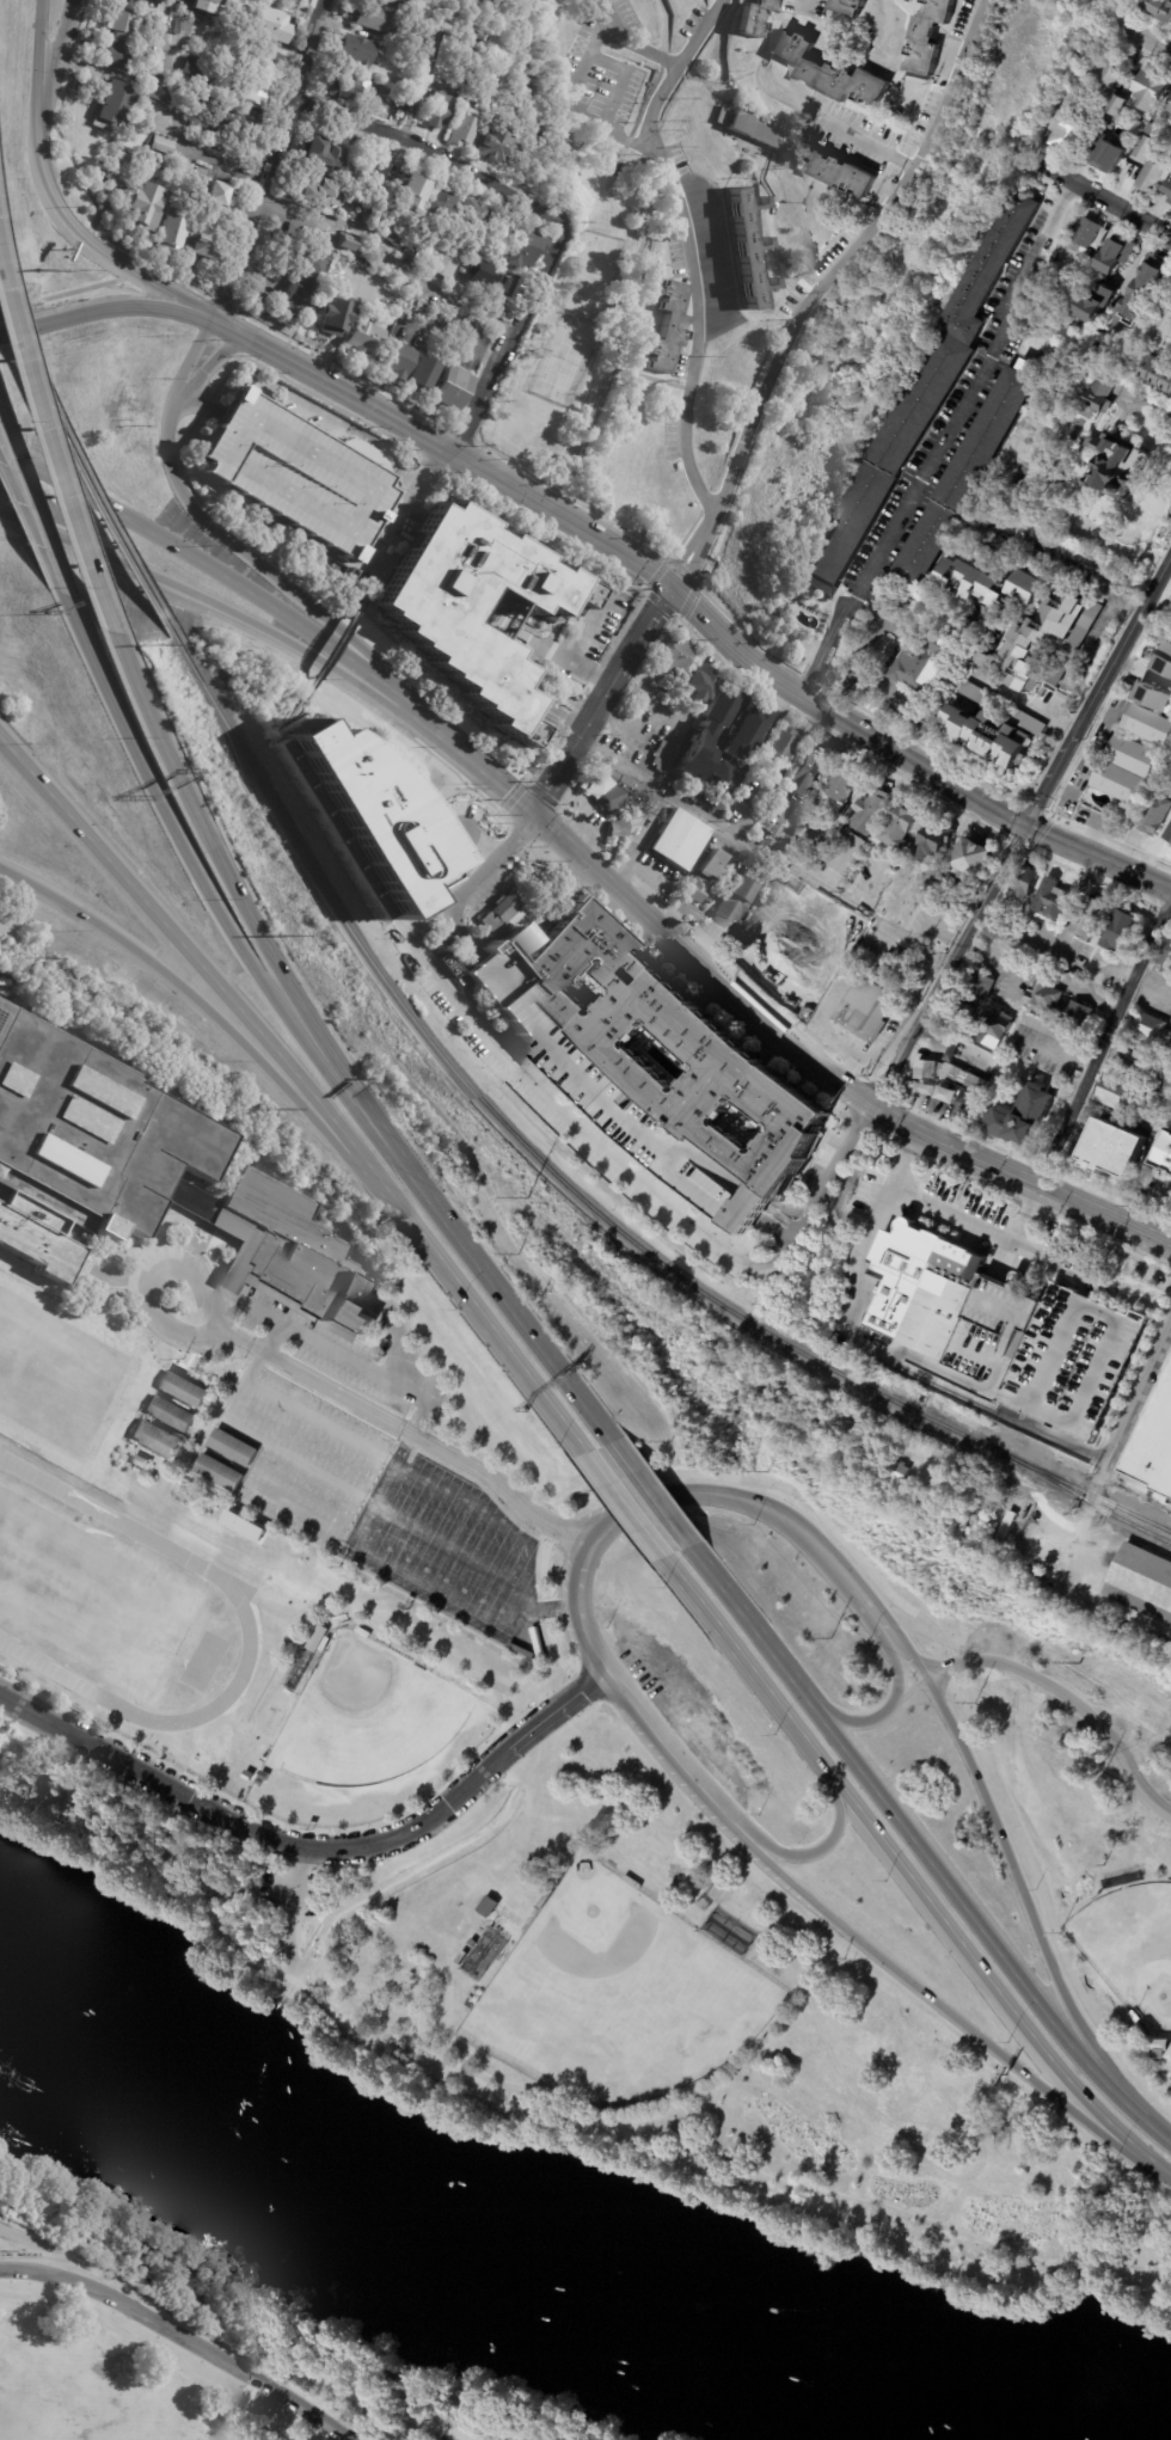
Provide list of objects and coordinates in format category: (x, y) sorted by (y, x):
building: (139, 1)
building: (161, 1)
building: (266, 1)
building: (293, 1)
building: (391, 2)
building: (470, 2)
building: (206, 6)
building: (848, 7)
building: (1157, 8)
building: (754, 17)
building: (369, 20)
building: (272, 25)
building: (124, 26)
building: (184, 26)
building: (476, 30)
road: (1145, 33)
building: (926, 37)
road: (629, 45)
road: (38, 49)
road: (61, 50)
building: (352, 51)
building: (419, 51)
building: (118, 57)
building: (152, 59)
building: (256, 59)
building: (194, 66)
building: (829, 72)
building: (1109, 75)
building: (1123, 78)
road: (623, 81)
road: (656, 81)
building: (1148, 88)
building: (345, 90)
building: (250, 92)
road: (577, 99)
building: (128, 100)
building: (403, 103)
building: (1117, 104)
building: (1169, 105)
building: (435, 111)
road: (178, 116)
road: (527, 116)
road: (412, 117)
building: (1136, 122)
building: (240, 124)
building: (752, 129)
building: (1068, 131)
building: (1118, 131)
building: (459, 133)
building: (1148, 135)
road: (870, 143)
building: (164, 147)
building: (488, 147)
building: (1144, 148)
building: (1106, 152)
road: (431, 153)
building: (324, 155)
road: (269, 159)
building: (375, 164)
road: (617, 168)
building: (840, 172)
building: (118, 173)
building: (1151, 177)
building: (1167, 189)
building: (406, 192)
building: (320, 194)
building: (220, 196)
road: (1104, 197)
building: (434, 206)
building: (143, 208)
building: (467, 214)
building: (171, 233)
building: (391, 233)
building: (1085, 235)
building: (470, 237)
road: (84, 239)
building: (343, 241)
building: (206, 246)
building: (748, 247)
building: (519, 249)
building: (405, 250)
road: (691, 250)
building: (1115, 253)
road: (387, 257)
road: (847, 258)
building: (761, 263)
building: (442, 265)
park: (595, 277)
building: (304, 288)
road: (128, 289)
road: (617, 290)
building: (1142, 290)
road: (72, 298)
building: (495, 300)
building: (1093, 302)
road: (70, 306)
road: (106, 308)
building: (333, 318)
building: (1158, 326)
building: (668, 327)
building: (363, 339)
road: (453, 339)
road: (509, 341)
park: (566, 360)
building: (397, 363)
building: (1028, 364)
road: (209, 368)
building: (1157, 373)
building: (421, 378)
road: (326, 384)
building: (450, 391)
building: (1117, 396)
building: (1089, 398)
road: (190, 401)
building: (916, 401)
road: (330, 404)
road: (343, 422)
road: (940, 439)
building: (1115, 470)
building: (290, 471)
parking lot: (290, 471)
railway: (81, 476)
road: (491, 476)
building: (963, 476)
road: (53, 480)
road: (411, 495)
road: (32, 515)
building: (650, 529)
road: (32, 535)
road: (305, 538)
building: (993, 541)
road: (1116, 544)
road: (609, 545)
building: (1060, 546)
road: (239, 548)
road: (692, 553)
road: (1060, 559)
road: (227, 572)
road: (369, 575)
road: (315, 576)
building: (991, 584)
traffic signals: (672, 589)
road: (678, 595)
road: (226, 607)
building: (471, 607)
road: (673, 613)
parking lot: (606, 629)
building: (1038, 640)
building: (1074, 644)
road: (86, 648)
road: (331, 649)
building: (983, 651)
road: (275, 652)
building: (672, 657)
building: (1163, 660)
building: (919, 662)
road: (584, 666)
parking lot: (560, 676)
building: (695, 682)
road: (1097, 693)
building: (976, 695)
building: (1153, 698)
road: (603, 700)
road: (1024, 700)
road: (308, 713)
parking lot: (636, 716)
building: (1024, 722)
road: (847, 724)
building: (1147, 725)
building: (747, 732)
building: (986, 737)
building: (697, 738)
building: (780, 746)
road: (485, 768)
building: (1124, 770)
building: (717, 773)
building: (756, 774)
building: (803, 777)
building: (1161, 780)
building: (835, 791)
road: (546, 798)
building: (623, 804)
road: (587, 805)
traffic signals: (534, 810)
building: (869, 811)
building: (360, 814)
building: (1124, 814)
building: (1151, 815)
building: (896, 827)
traffic signals: (1024, 828)
road: (1003, 835)
building: (1167, 835)
building: (679, 840)
building: (931, 841)
road: (764, 853)
building: (968, 860)
road: (1097, 860)
building: (705, 877)
building: (1023, 881)
building: (1050, 900)
building: (732, 903)
road: (240, 905)
road: (1167, 913)
building: (499, 915)
building: (1090, 918)
building: (998, 928)
road: (461, 930)
building: (1118, 932)
road: (234, 940)
building: (445, 940)
building: (1165, 957)
road: (700, 961)
road: (948, 965)
road: (202, 970)
road: (1038, 976)
building: (979, 983)
building: (1059, 1004)
building: (866, 1009)
road: (211, 1020)
building: (1149, 1028)
building: (995, 1029)
road: (1103, 1041)
building: (664, 1042)
road: (1055, 1052)
building: (1132, 1056)
building: (949, 1078)
road: (819, 1083)
building: (1166, 1085)
building: (1116, 1093)
building: (1022, 1116)
road: (576, 1123)
railway: (510, 1134)
road: (909, 1139)
building: (86, 1146)
building: (1110, 1150)
building: (1164, 1153)
road: (1020, 1176)
road: (1030, 1195)
road: (968, 1215)
road: (516, 1245)
building: (290, 1247)
road: (97, 1249)
road: (134, 1286)
building: (921, 1288)
building: (873, 1300)
road: (503, 1301)
road: (220, 1326)
road: (489, 1331)
road: (231, 1345)
road: (333, 1351)
road: (893, 1357)
building: (1073, 1363)
park: (53, 1367)
road: (252, 1367)
building: (900, 1369)
building: (184, 1388)
building: (171, 1412)
road: (1130, 1416)
road: (223, 1418)
building: (827, 1424)
building: (158, 1437)
building: (234, 1448)
building: (1158, 1449)
road: (437, 1451)
building: (857, 1461)
building: (1128, 1471)
building: (221, 1472)
road: (979, 1472)
building: (895, 1475)
railway: (1047, 1476)
road: (694, 1478)
parking lot: (369, 1485)
road: (380, 1485)
road: (651, 1494)
railway: (1087, 1494)
building: (950, 1495)
road: (623, 1508)
road: (760, 1510)
building: (979, 1514)
road: (613, 1520)
railway: (1129, 1522)
building: (243, 1526)
building: (1006, 1526)
road: (1081, 1532)
building: (1016, 1562)
road: (418, 1574)
building: (1141, 1583)
track: (233, 1588)
park: (87, 1594)
road: (581, 1598)
road: (872, 1617)
road: (748, 1625)
building: (361, 1633)
building: (318, 1638)
building: (325, 1644)
road: (909, 1662)
road: (746, 1666)
building: (298, 1669)
road: (593, 1678)
road: (905, 1697)
building: (282, 1698)
road: (1067, 1699)
park: (363, 1717)
road: (878, 1717)
road: (662, 1741)
building: (252, 1764)
building: (259, 1783)
road: (299, 1846)
road: (817, 1851)
road: (131, 1860)
road: (296, 1876)
building: (631, 1883)
parking lot: (289, 1888)
road: (243, 1894)
building: (542, 1899)
road: (1043, 1899)
building: (488, 1905)
park: (767, 1906)
road: (1029, 1917)
road: (981, 1931)
building: (471, 1944)
park: (1129, 1949)
road: (292, 1958)
building: (459, 1958)
road: (988, 1981)
road: (301, 1990)
park: (611, 1991)
road: (948, 2012)
building: (1133, 2017)
building: (1158, 2048)
road: (712, 2175)
river: (411, 2230)
railway: (50, 2242)
railway: (50, 2258)
road: (1091, 2268)
road: (1136, 2282)
road: (238, 2328)
road: (180, 2336)
park: (202, 2343)
railway: (237, 2354)
park: (116, 2378)
road: (380, 2422)

